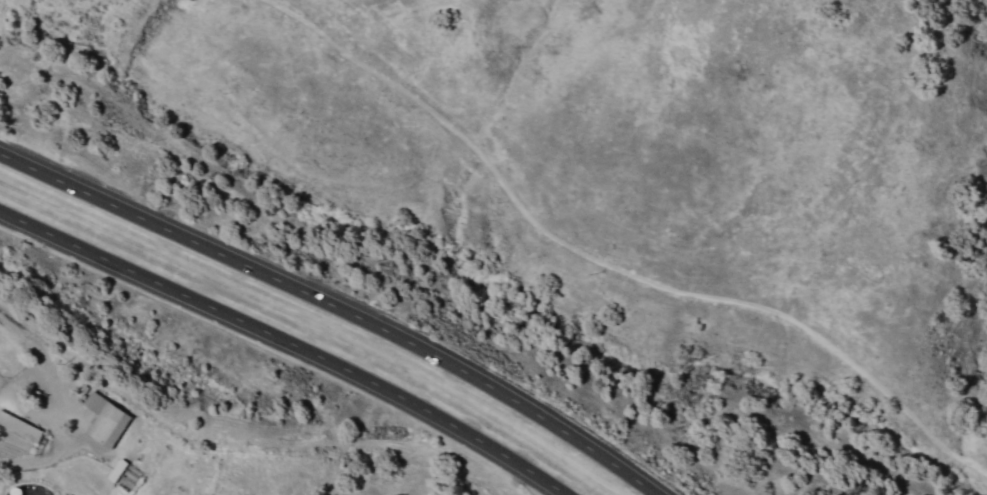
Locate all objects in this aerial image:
road: (346, 304)
road: (295, 349)
building: (104, 420)

